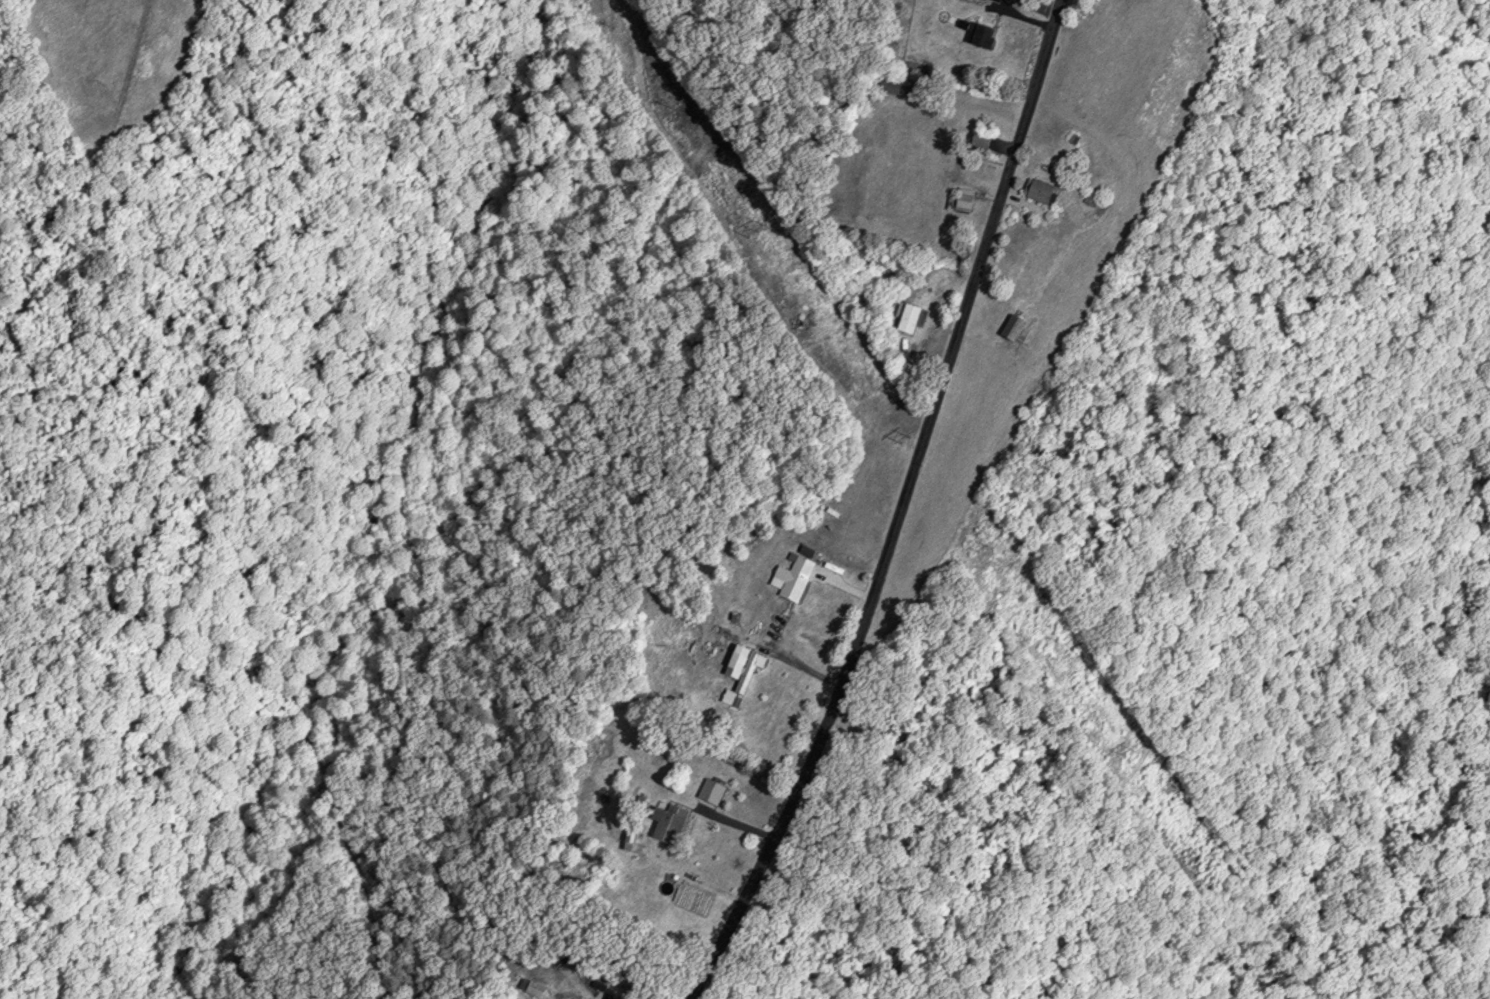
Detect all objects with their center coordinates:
building: (983, 36)
building: (899, 87)
building: (981, 139)
building: (1040, 191)
building: (965, 199)
road: (819, 216)
building: (910, 319)
building: (1015, 328)
road: (901, 510)
building: (792, 578)
building: (743, 663)
building: (669, 824)

